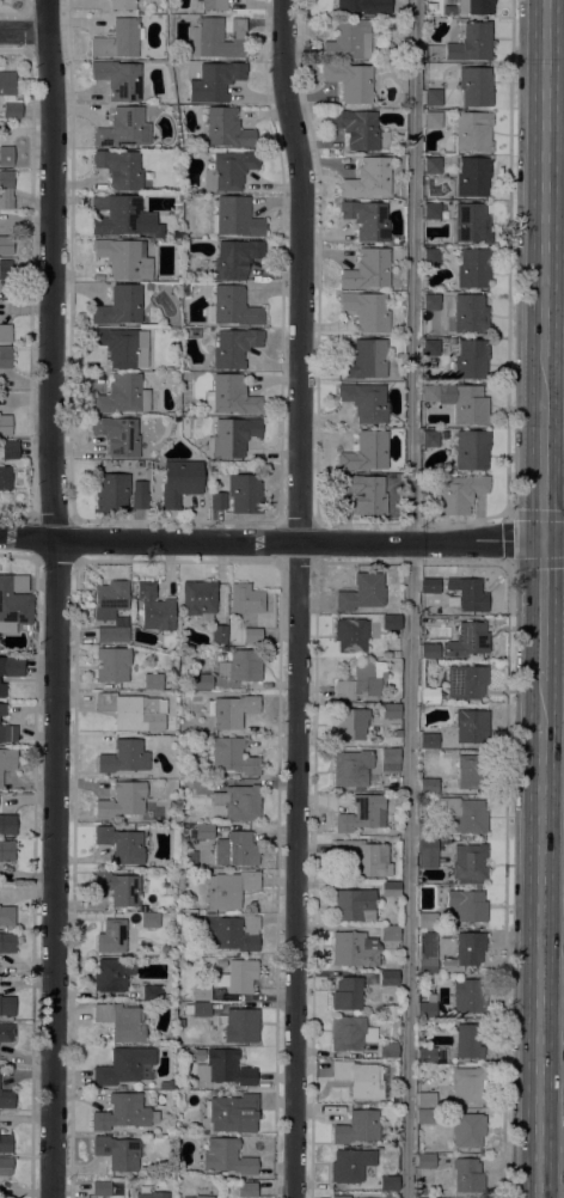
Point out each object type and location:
building: (122, 5)
building: (213, 5)
building: (474, 6)
building: (363, 7)
road: (24, 32)
building: (217, 38)
building: (118, 39)
building: (348, 39)
building: (471, 43)
building: (118, 79)
building: (214, 81)
building: (350, 81)
building: (474, 86)
building: (8, 96)
building: (433, 98)
building: (433, 120)
building: (123, 128)
building: (227, 129)
building: (356, 129)
building: (473, 132)
building: (6, 157)
building: (433, 165)
building: (119, 169)
building: (228, 171)
building: (472, 177)
building: (367, 179)
building: (6, 189)
road: (541, 200)
building: (431, 212)
building: (117, 215)
building: (235, 218)
building: (367, 220)
building: (470, 224)
building: (6, 245)
building: (431, 257)
road: (509, 257)
building: (123, 258)
building: (235, 259)
building: (473, 268)
building: (6, 269)
building: (367, 270)
building: (431, 302)
building: (119, 306)
building: (234, 307)
building: (366, 311)
building: (468, 314)
building: (5, 334)
building: (194, 334)
building: (122, 347)
building: (234, 348)
building: (430, 348)
building: (5, 357)
building: (364, 360)
building: (471, 360)
building: (122, 396)
building: (231, 396)
building: (364, 402)
building: (460, 402)
building: (5, 424)
building: (117, 435)
building: (232, 436)
building: (430, 439)
building: (10, 450)
building: (471, 450)
building: (364, 453)
road: (541, 469)
building: (5, 478)
building: (180, 482)
building: (364, 493)
building: (111, 494)
building: (244, 494)
building: (460, 494)
building: (139, 500)
building: (217, 501)
road: (508, 538)
traffic signals: (542, 540)
road: (281, 542)
building: (429, 586)
building: (362, 593)
building: (466, 595)
road: (55, 598)
road: (298, 598)
road: (410, 598)
building: (109, 599)
building: (198, 599)
building: (245, 599)
building: (13, 603)
building: (154, 609)
road: (541, 610)
building: (391, 623)
building: (111, 635)
building: (217, 635)
building: (350, 635)
building: (251, 636)
building: (466, 641)
building: (429, 652)
building: (111, 665)
building: (240, 666)
building: (12, 667)
building: (152, 681)
building: (200, 681)
building: (362, 681)
building: (466, 683)
building: (2, 690)
building: (428, 696)
building: (1, 710)
building: (133, 711)
building: (231, 711)
building: (390, 711)
building: (349, 725)
building: (471, 727)
building: (8, 734)
building: (397, 734)
building: (428, 741)
building: (123, 757)
building: (232, 757)
building: (7, 760)
building: (388, 760)
building: (350, 769)
building: (470, 770)
building: (427, 786)
building: (200, 787)
building: (122, 800)
building: (239, 802)
building: (219, 813)
building: (363, 813)
building: (462, 814)
building: (7, 825)
building: (434, 830)
building: (203, 832)
building: (119, 845)
building: (6, 850)
building: (235, 850)
building: (427, 854)
building: (361, 857)
building: (468, 861)
road: (505, 879)
building: (465, 881)
building: (118, 888)
building: (229, 890)
building: (390, 890)
building: (352, 905)
building: (466, 906)
building: (7, 916)
building: (378, 917)
building: (427, 919)
building: (149, 921)
building: (229, 933)
building: (388, 934)
building: (111, 936)
road: (537, 939)
building: (7, 942)
building: (354, 949)
building: (465, 952)
building: (427, 953)
building: (219, 964)
building: (391, 966)
building: (111, 974)
building: (238, 976)
building: (387, 978)
building: (151, 992)
building: (200, 992)
building: (347, 994)
building: (468, 995)
building: (7, 1007)
building: (427, 1008)
building: (200, 1009)
road: (550, 1017)
building: (121, 1022)
building: (240, 1026)
building: (6, 1033)
building: (350, 1033)
building: (468, 1040)
building: (387, 1050)
building: (430, 1055)
building: (123, 1065)
building: (223, 1069)
building: (361, 1078)
building: (467, 1084)
building: (6, 1099)
building: (424, 1099)
building: (123, 1113)
building: (231, 1114)
building: (424, 1117)
building: (357, 1127)
building: (465, 1130)
building: (6, 1144)
building: (117, 1153)
building: (226, 1157)
building: (424, 1161)
building: (350, 1165)
building: (5, 1166)
building: (467, 1175)
building: (387, 1182)
building: (100, 1188)
building: (246, 1190)
building: (419, 1191)
building: (152, 1194)
building: (192, 1197)
building: (201, 1197)
building: (339, 1197)

